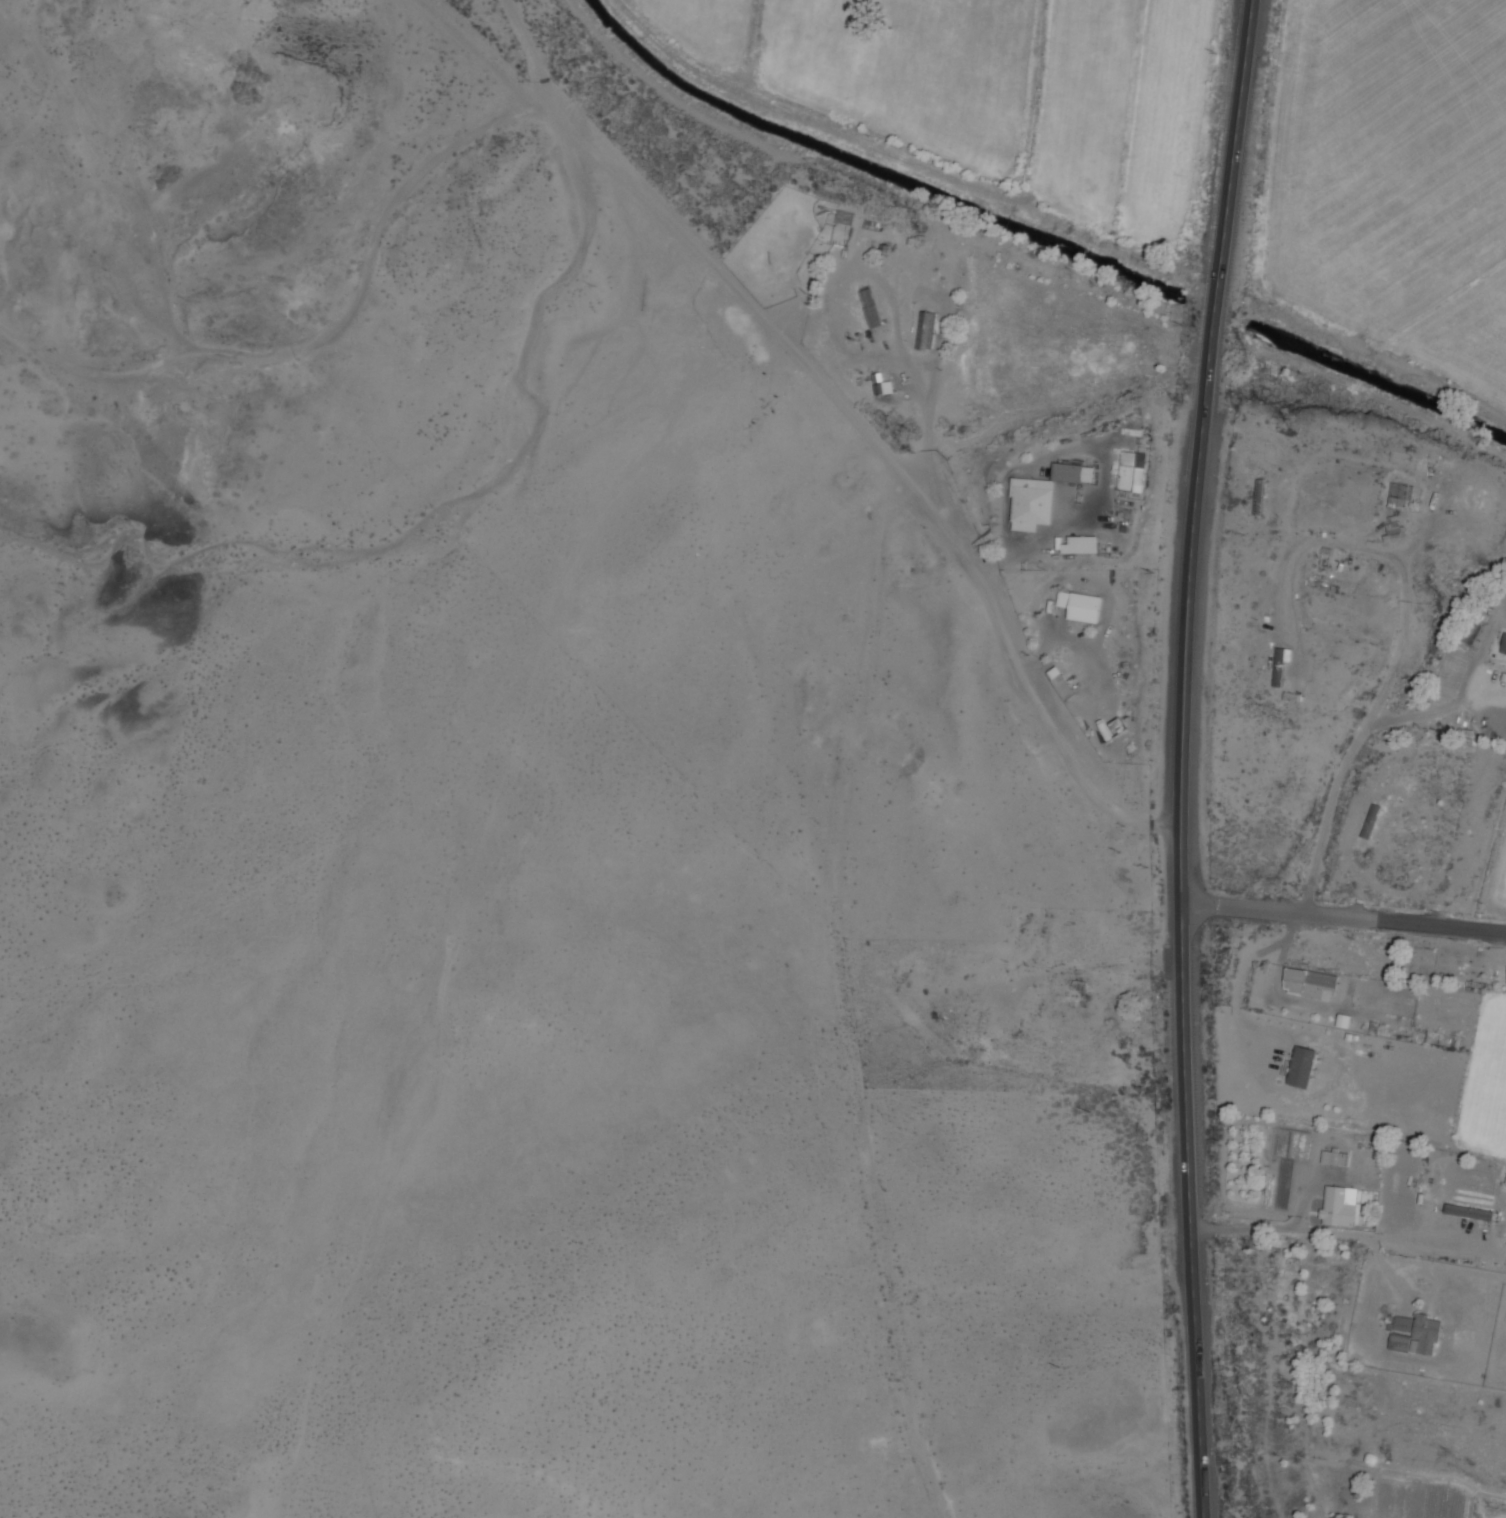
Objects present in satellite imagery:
building: (870, 307)
building: (925, 329)
road: (843, 421)
building: (1072, 472)
building: (1398, 495)
building: (1030, 503)
building: (1393, 528)
building: (1080, 544)
building: (1080, 605)
building: (1504, 645)
building: (1279, 662)
building: (1061, 682)
road: (1357, 735)
road: (1184, 757)
building: (1370, 821)
road: (1345, 920)
building: (1308, 981)
building: (1342, 1020)
building: (1301, 1066)
building: (1334, 1156)
building: (1337, 1207)
building: (1469, 1211)
road: (1305, 1230)
building: (1413, 1334)

